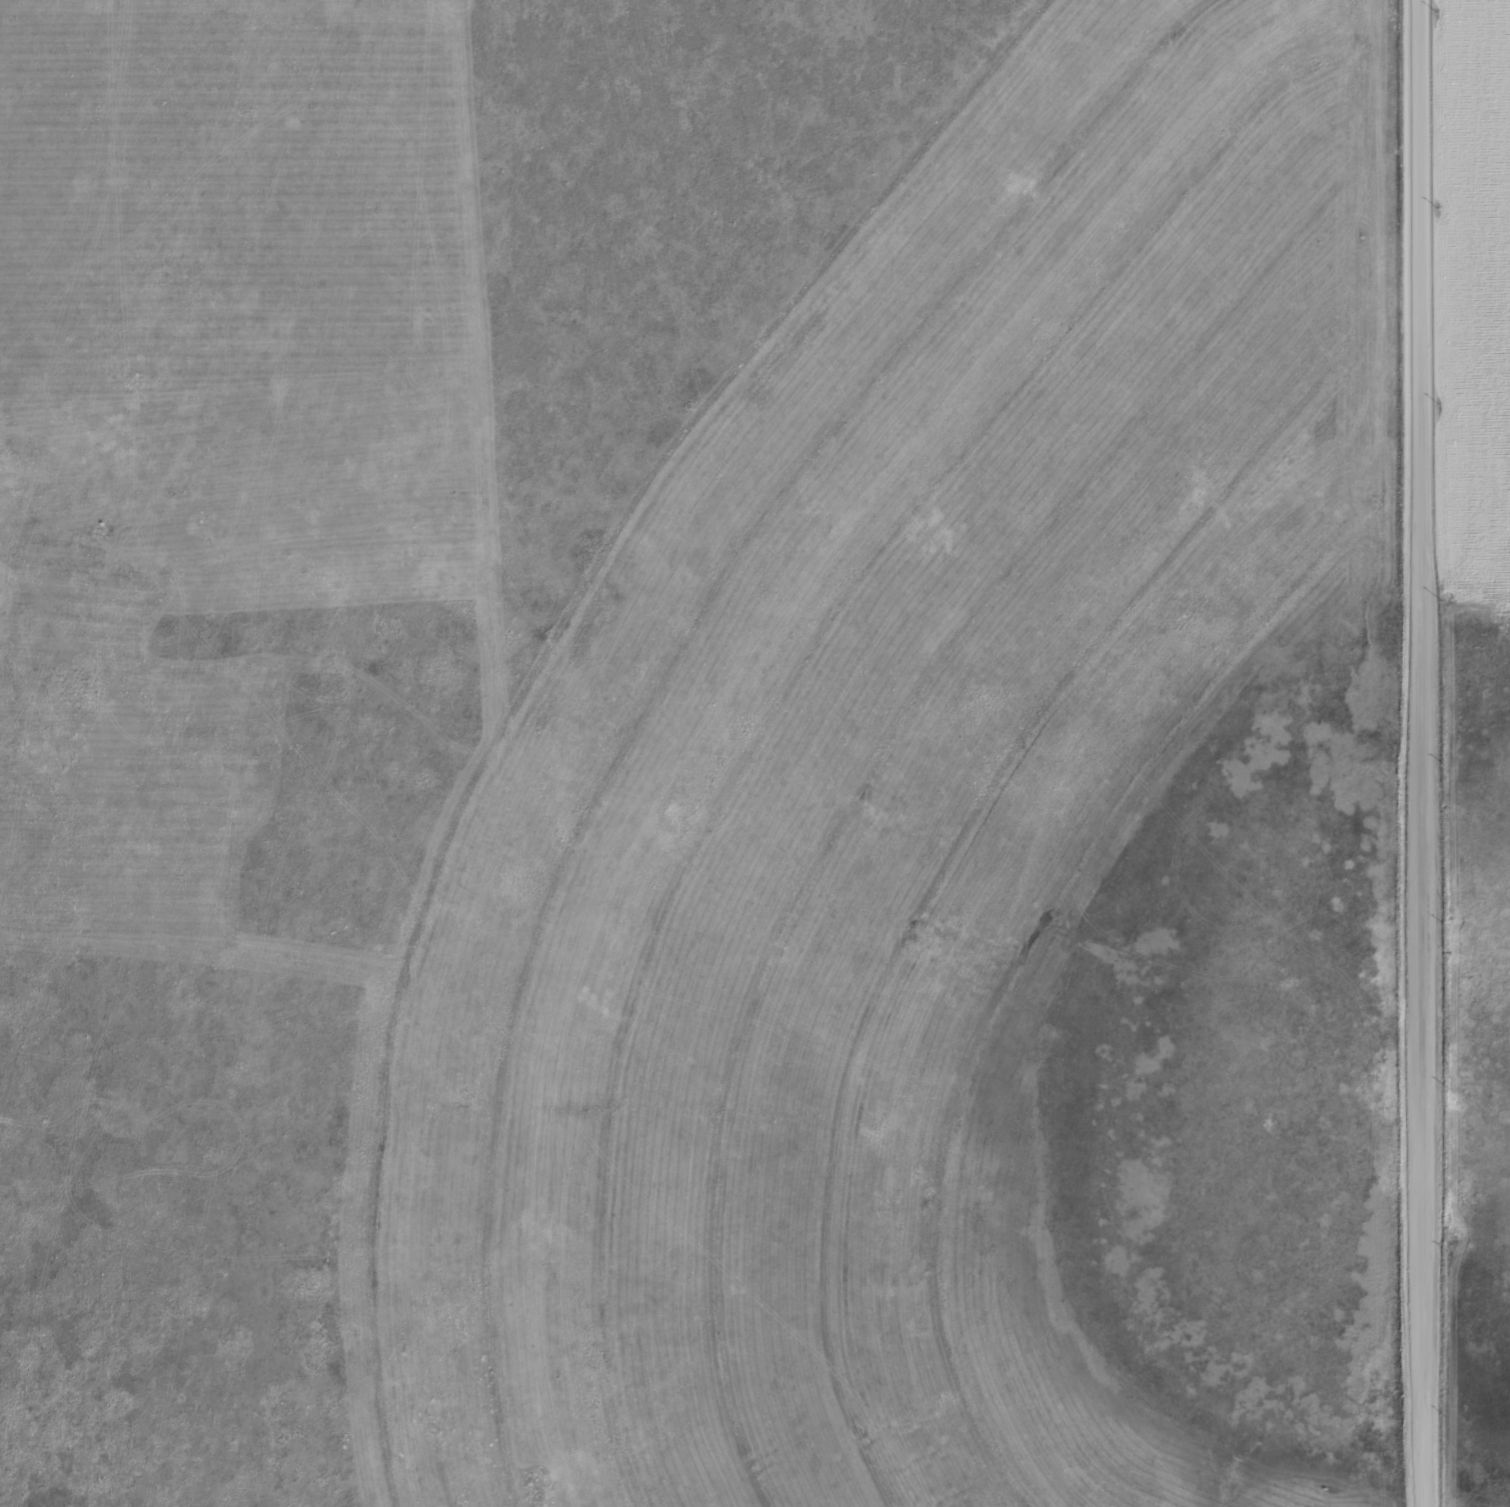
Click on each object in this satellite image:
road: (1439, 753)

